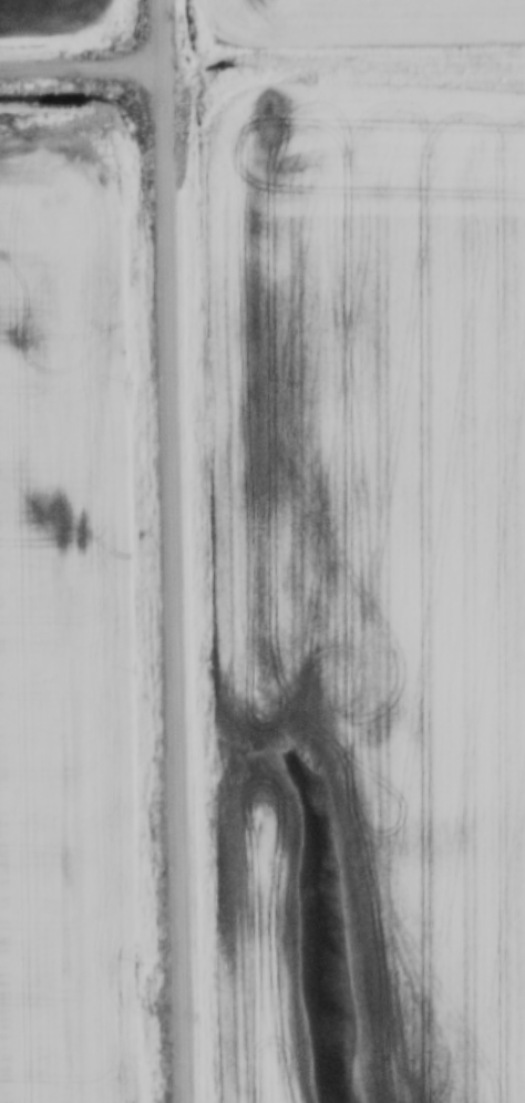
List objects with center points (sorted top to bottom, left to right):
road: (82, 71)
road: (177, 550)

